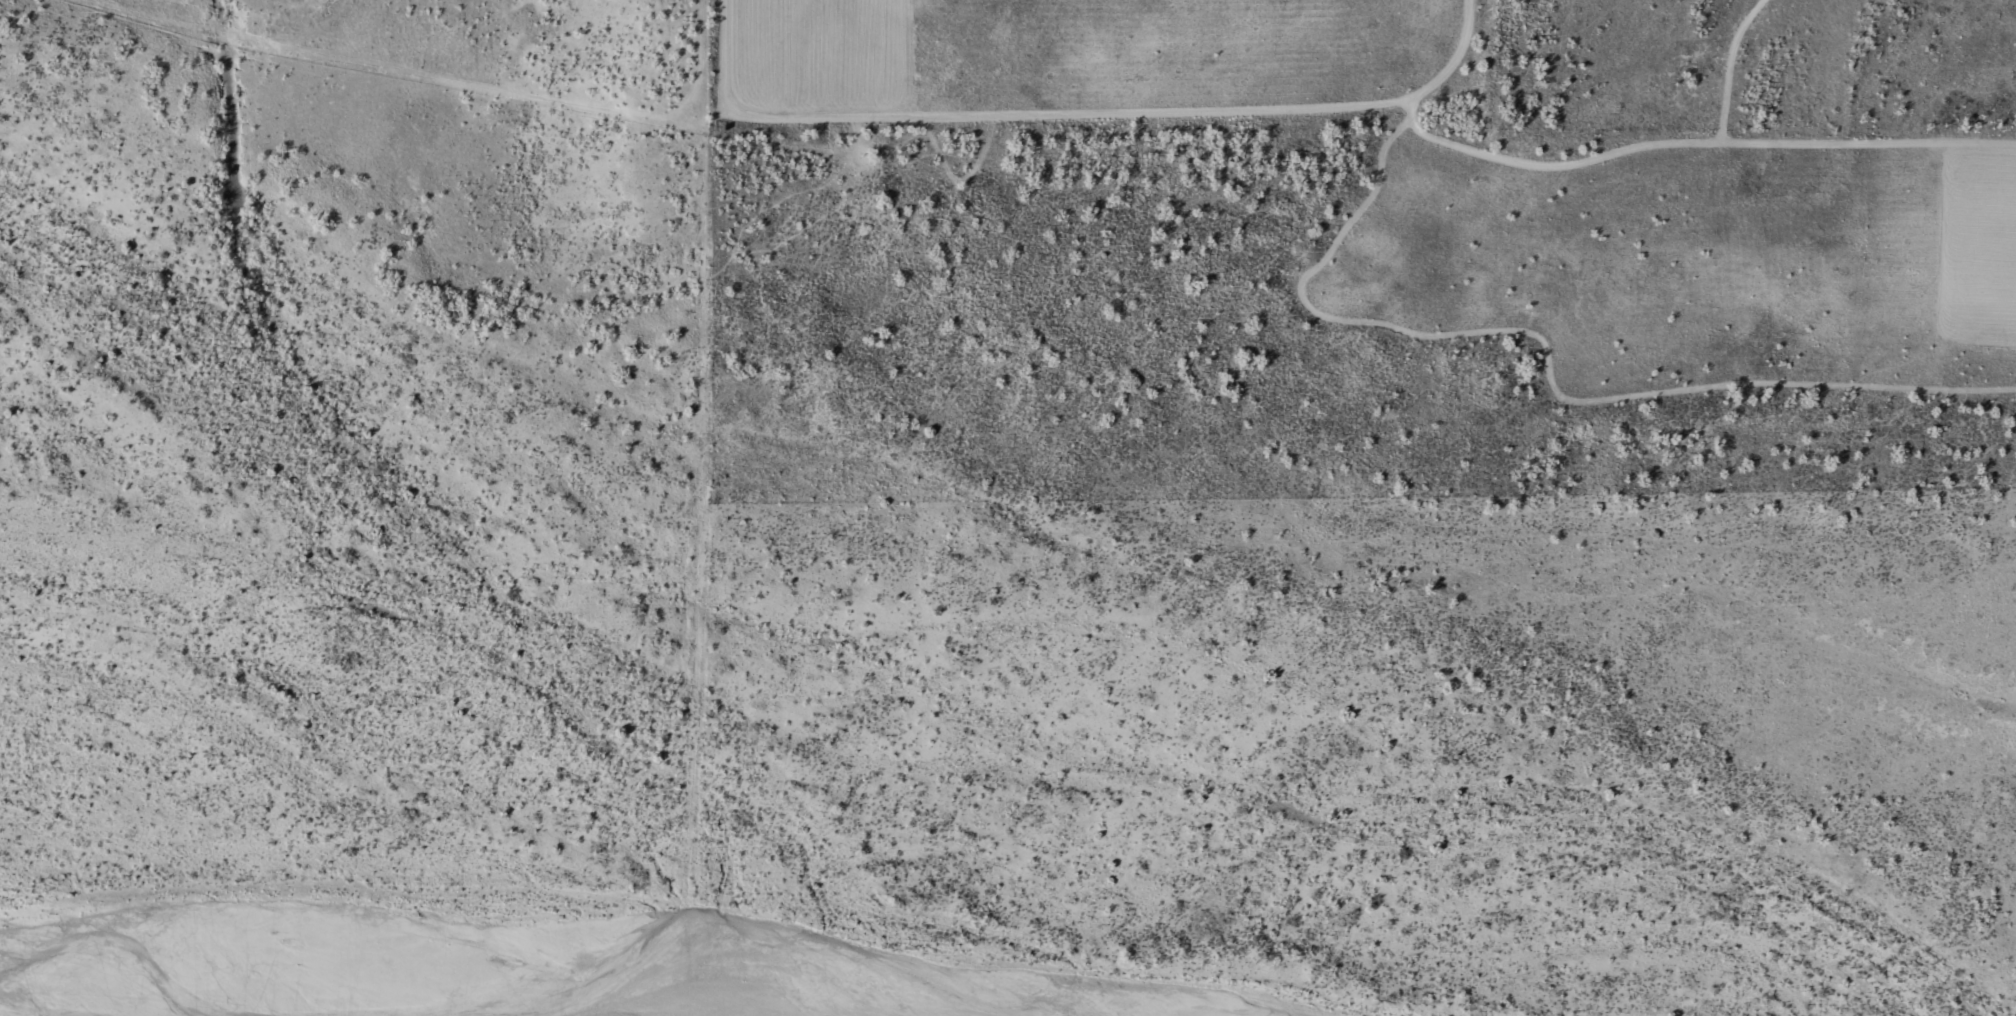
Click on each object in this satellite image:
river: (152, 995)

